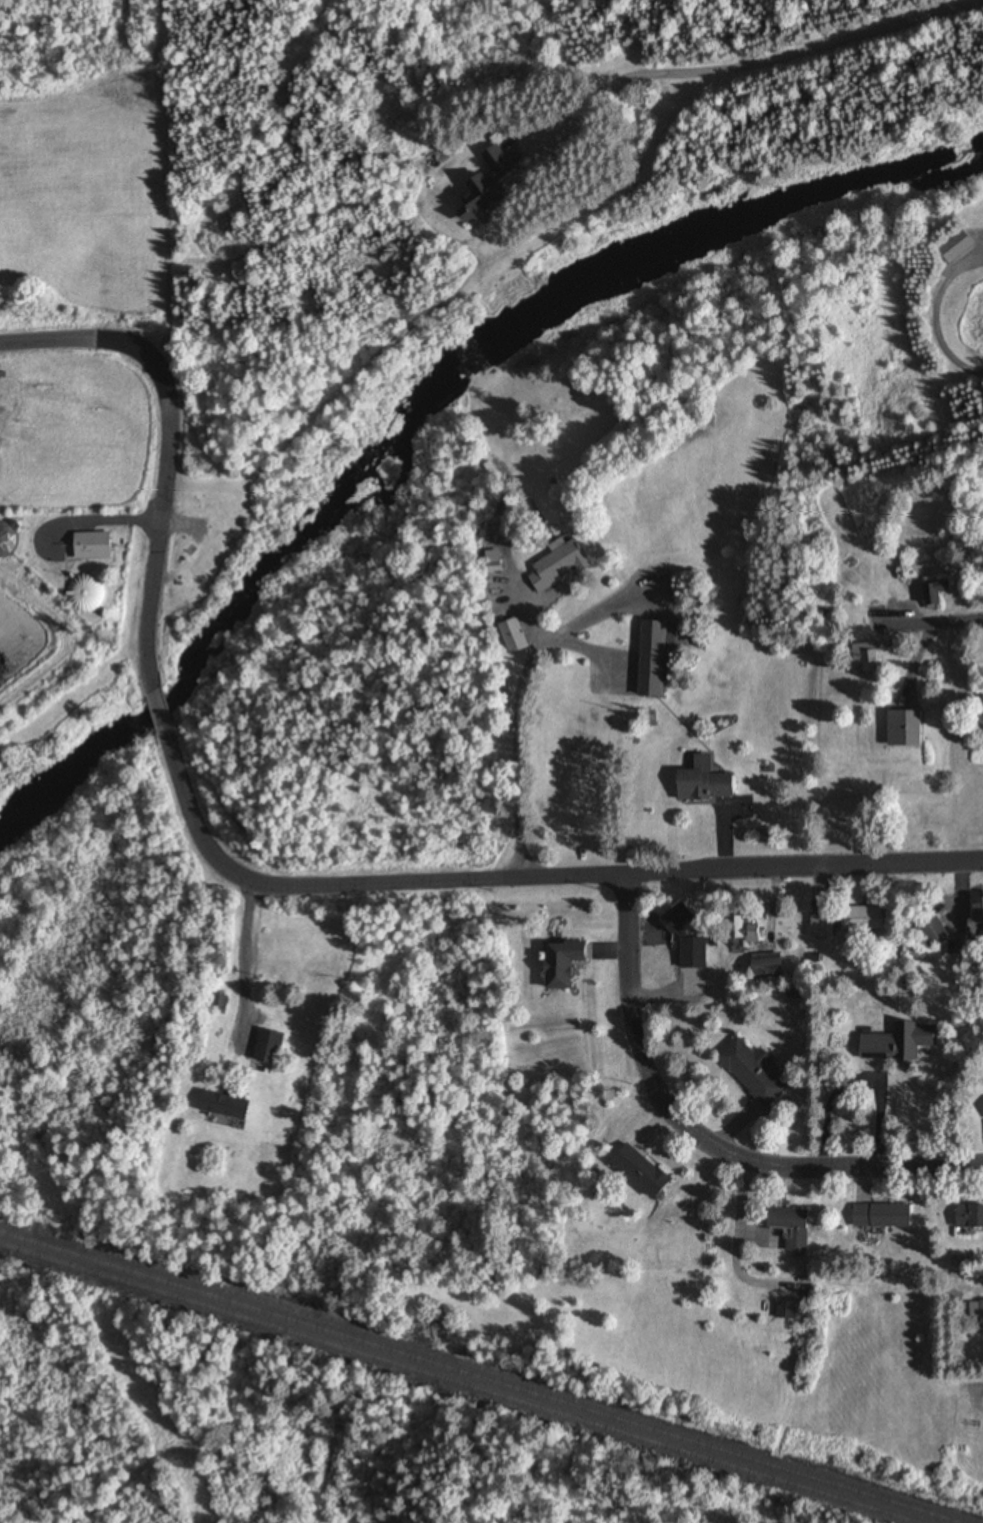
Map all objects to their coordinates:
road: (910, 28)
building: (494, 200)
building: (951, 245)
river: (653, 263)
road: (975, 264)
road: (89, 337)
road: (162, 528)
building: (9, 540)
building: (99, 546)
river: (286, 548)
building: (554, 564)
building: (489, 573)
building: (933, 594)
building: (93, 595)
building: (872, 595)
road: (940, 618)
building: (509, 635)
building: (649, 657)
building: (865, 661)
building: (981, 705)
road: (160, 711)
river: (110, 740)
road: (175, 767)
road: (505, 771)
building: (699, 782)
road: (562, 881)
building: (858, 918)
building: (972, 919)
building: (819, 927)
building: (741, 931)
building: (930, 932)
building: (690, 953)
building: (559, 962)
building: (763, 967)
building: (225, 1005)
road: (632, 1032)
building: (895, 1043)
building: (275, 1047)
building: (749, 1072)
building: (232, 1107)
building: (982, 1107)
road: (848, 1169)
building: (635, 1171)
building: (876, 1216)
building: (967, 1217)
building: (784, 1224)
building: (785, 1310)
building: (975, 1313)
railway: (480, 1377)
railway: (457, 1384)

